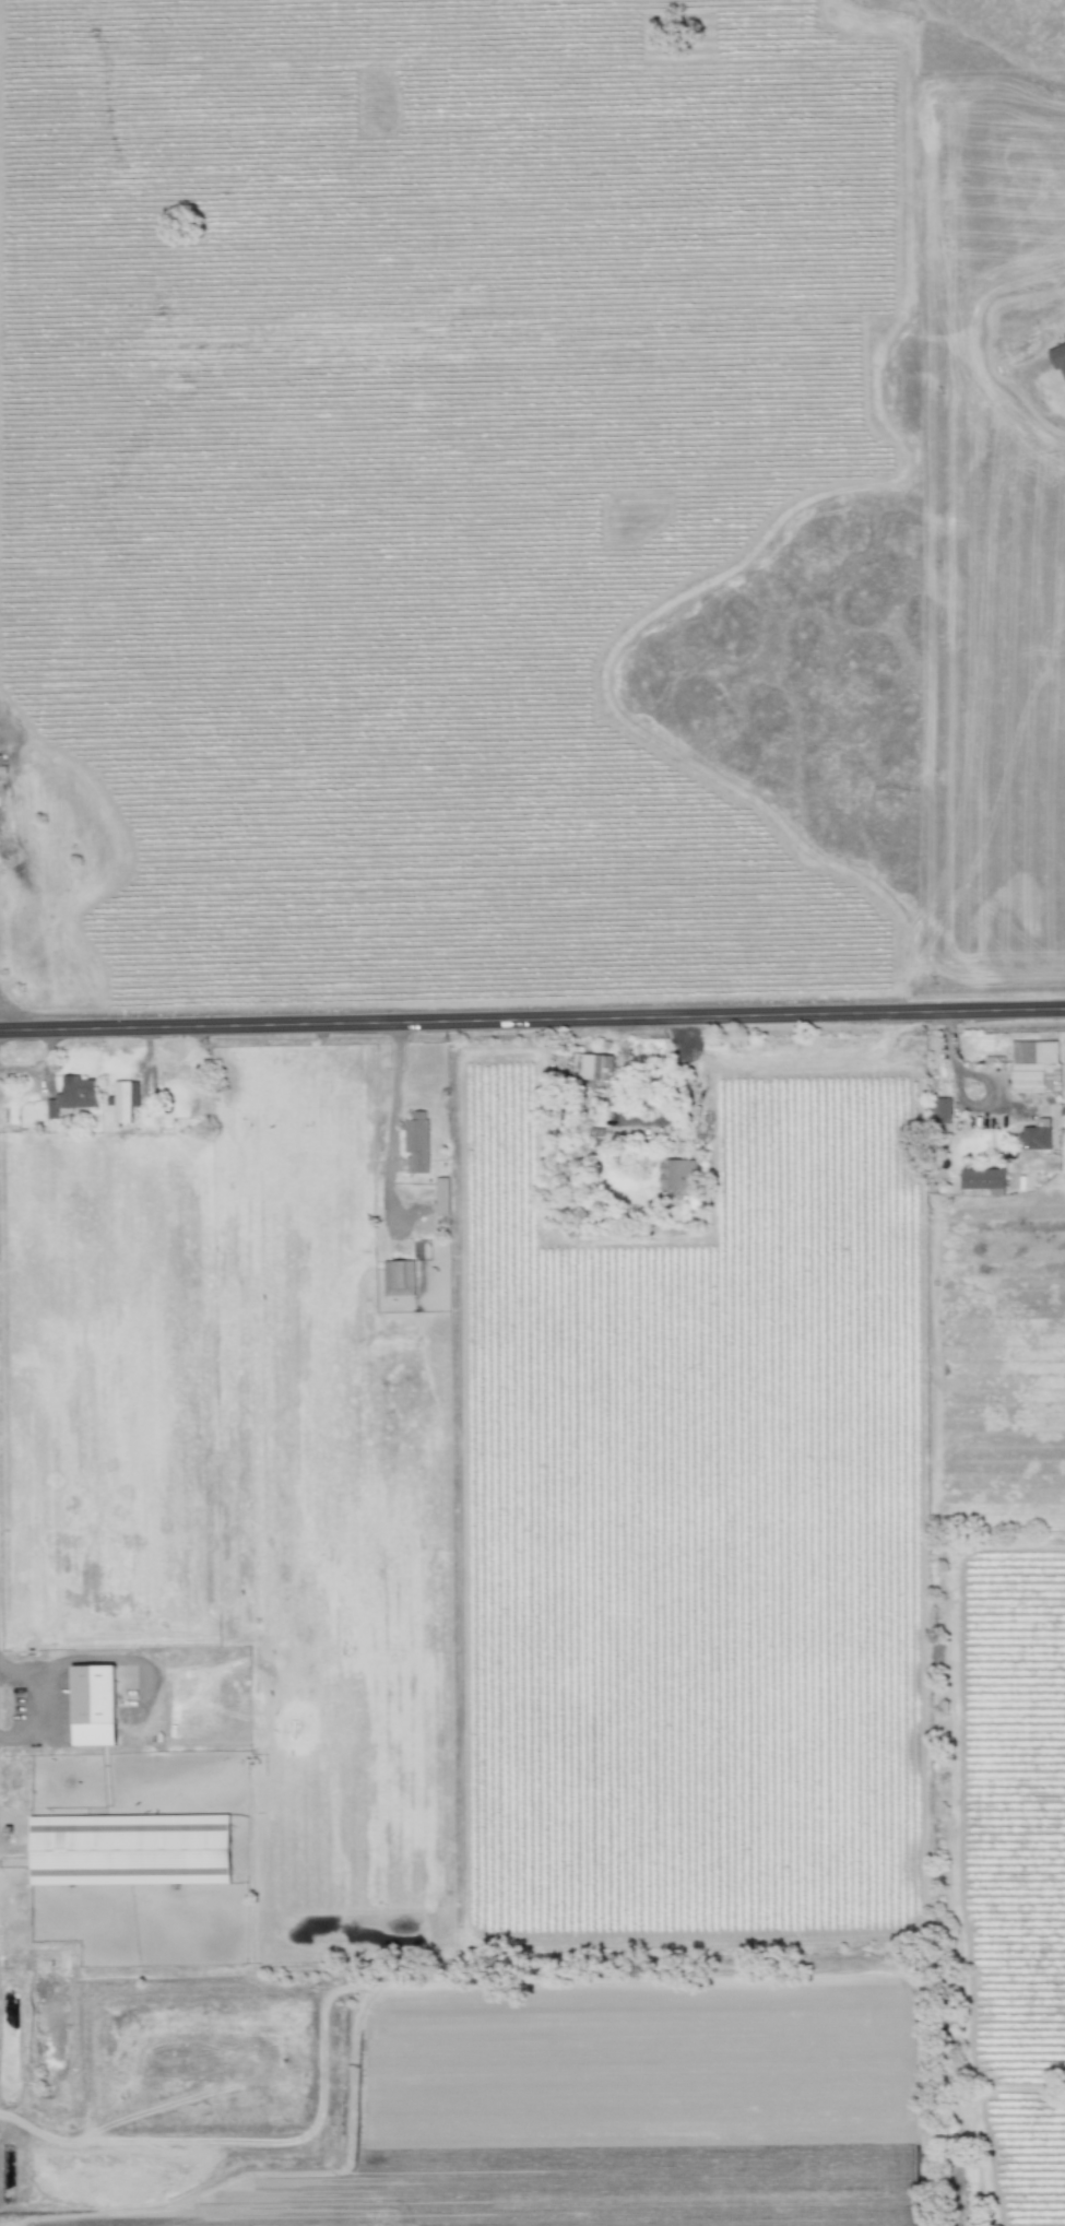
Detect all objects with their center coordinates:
building: (1064, 338)
building: (1058, 358)
road: (1042, 409)
road: (532, 1021)
building: (592, 1067)
building: (1034, 1068)
road: (673, 1075)
road: (393, 1095)
road: (959, 1095)
building: (72, 1096)
building: (125, 1100)
building: (940, 1110)
building: (1036, 1135)
building: (596, 1138)
building: (415, 1143)
building: (676, 1175)
building: (983, 1180)
building: (441, 1197)
building: (93, 1706)
building: (129, 1850)

